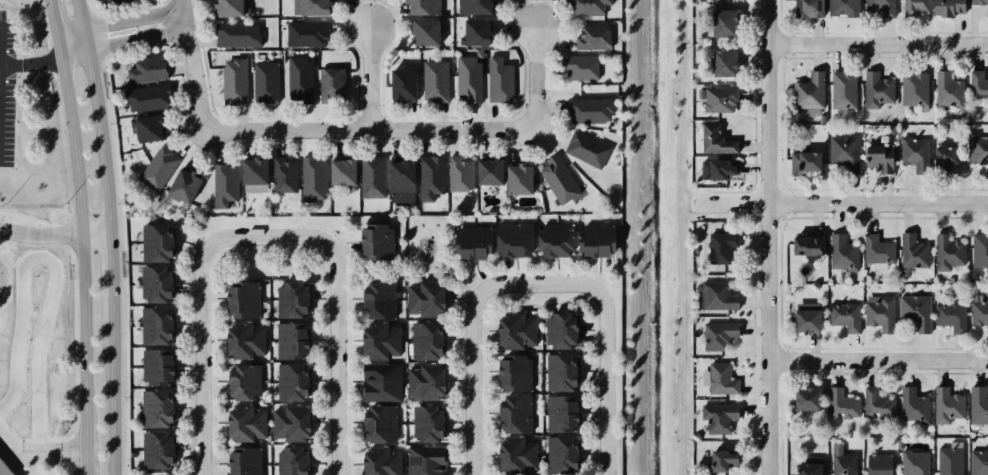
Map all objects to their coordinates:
building: (113, 1)
building: (313, 5)
building: (422, 5)
building: (582, 5)
building: (476, 6)
building: (912, 6)
building: (944, 6)
building: (225, 7)
building: (806, 7)
building: (841, 7)
building: (876, 8)
building: (985, 9)
road: (118, 19)
building: (718, 20)
road: (53, 26)
building: (422, 30)
building: (307, 31)
building: (473, 31)
building: (237, 32)
building: (591, 34)
road: (122, 41)
road: (877, 45)
building: (720, 61)
road: (30, 63)
road: (194, 65)
building: (577, 67)
building: (141, 68)
road: (536, 73)
road: (370, 75)
building: (467, 77)
building: (233, 78)
building: (298, 78)
building: (497, 78)
building: (264, 80)
building: (433, 80)
building: (401, 81)
building: (331, 84)
building: (978, 84)
building: (912, 87)
building: (945, 88)
building: (840, 89)
building: (877, 89)
parking lot: (6, 90)
building: (808, 93)
building: (145, 96)
building: (720, 100)
building: (588, 108)
road: (97, 115)
building: (147, 127)
road: (373, 129)
building: (715, 139)
building: (911, 147)
building: (977, 148)
building: (585, 149)
building: (843, 151)
building: (878, 156)
building: (802, 157)
building: (938, 158)
building: (159, 168)
building: (487, 169)
building: (718, 169)
building: (341, 170)
building: (254, 171)
building: (458, 173)
building: (556, 174)
building: (519, 176)
building: (285, 177)
building: (371, 177)
building: (429, 177)
building: (313, 179)
building: (400, 179)
building: (225, 185)
building: (184, 186)
road: (842, 203)
road: (40, 232)
road: (95, 234)
road: (767, 237)
building: (552, 238)
building: (155, 240)
building: (511, 240)
building: (592, 240)
building: (376, 241)
building: (471, 242)
building: (719, 245)
road: (81, 248)
building: (808, 248)
building: (881, 252)
building: (981, 253)
building: (916, 254)
park: (417, 255)
building: (951, 255)
road: (347, 262)
building: (847, 262)
road: (111, 265)
road: (411, 265)
road: (52, 269)
road: (345, 271)
road: (10, 276)
road: (2, 277)
road: (347, 280)
building: (155, 282)
road: (468, 286)
road: (466, 290)
building: (719, 293)
building: (375, 297)
building: (426, 297)
building: (240, 298)
building: (289, 298)
building: (918, 315)
building: (885, 318)
building: (848, 319)
building: (982, 321)
building: (953, 322)
building: (153, 324)
building: (806, 325)
road: (203, 326)
road: (336, 326)
building: (514, 327)
building: (558, 327)
building: (720, 332)
building: (426, 338)
building: (290, 339)
building: (242, 340)
building: (380, 341)
road: (472, 349)
road: (605, 351)
road: (877, 362)
building: (155, 366)
building: (559, 369)
building: (510, 370)
building: (720, 377)
building: (240, 379)
building: (290, 380)
building: (422, 380)
building: (378, 381)
road: (112, 387)
building: (807, 402)
building: (843, 404)
building: (153, 405)
building: (880, 406)
building: (954, 408)
building: (979, 408)
building: (917, 409)
building: (513, 412)
building: (559, 412)
building: (719, 416)
building: (287, 420)
building: (242, 422)
building: (424, 422)
building: (377, 423)
road: (38, 439)
road: (3, 441)
road: (45, 447)
building: (152, 449)
road: (73, 451)
building: (514, 451)
building: (560, 453)
building: (722, 457)
building: (426, 459)
road: (41, 460)
road: (85, 460)
building: (379, 460)
building: (240, 461)
building: (290, 461)
building: (844, 462)
building: (953, 463)
building: (979, 463)
road: (38, 464)
building: (917, 464)
building: (882, 465)
building: (812, 467)
building: (4, 469)
road: (12, 469)

